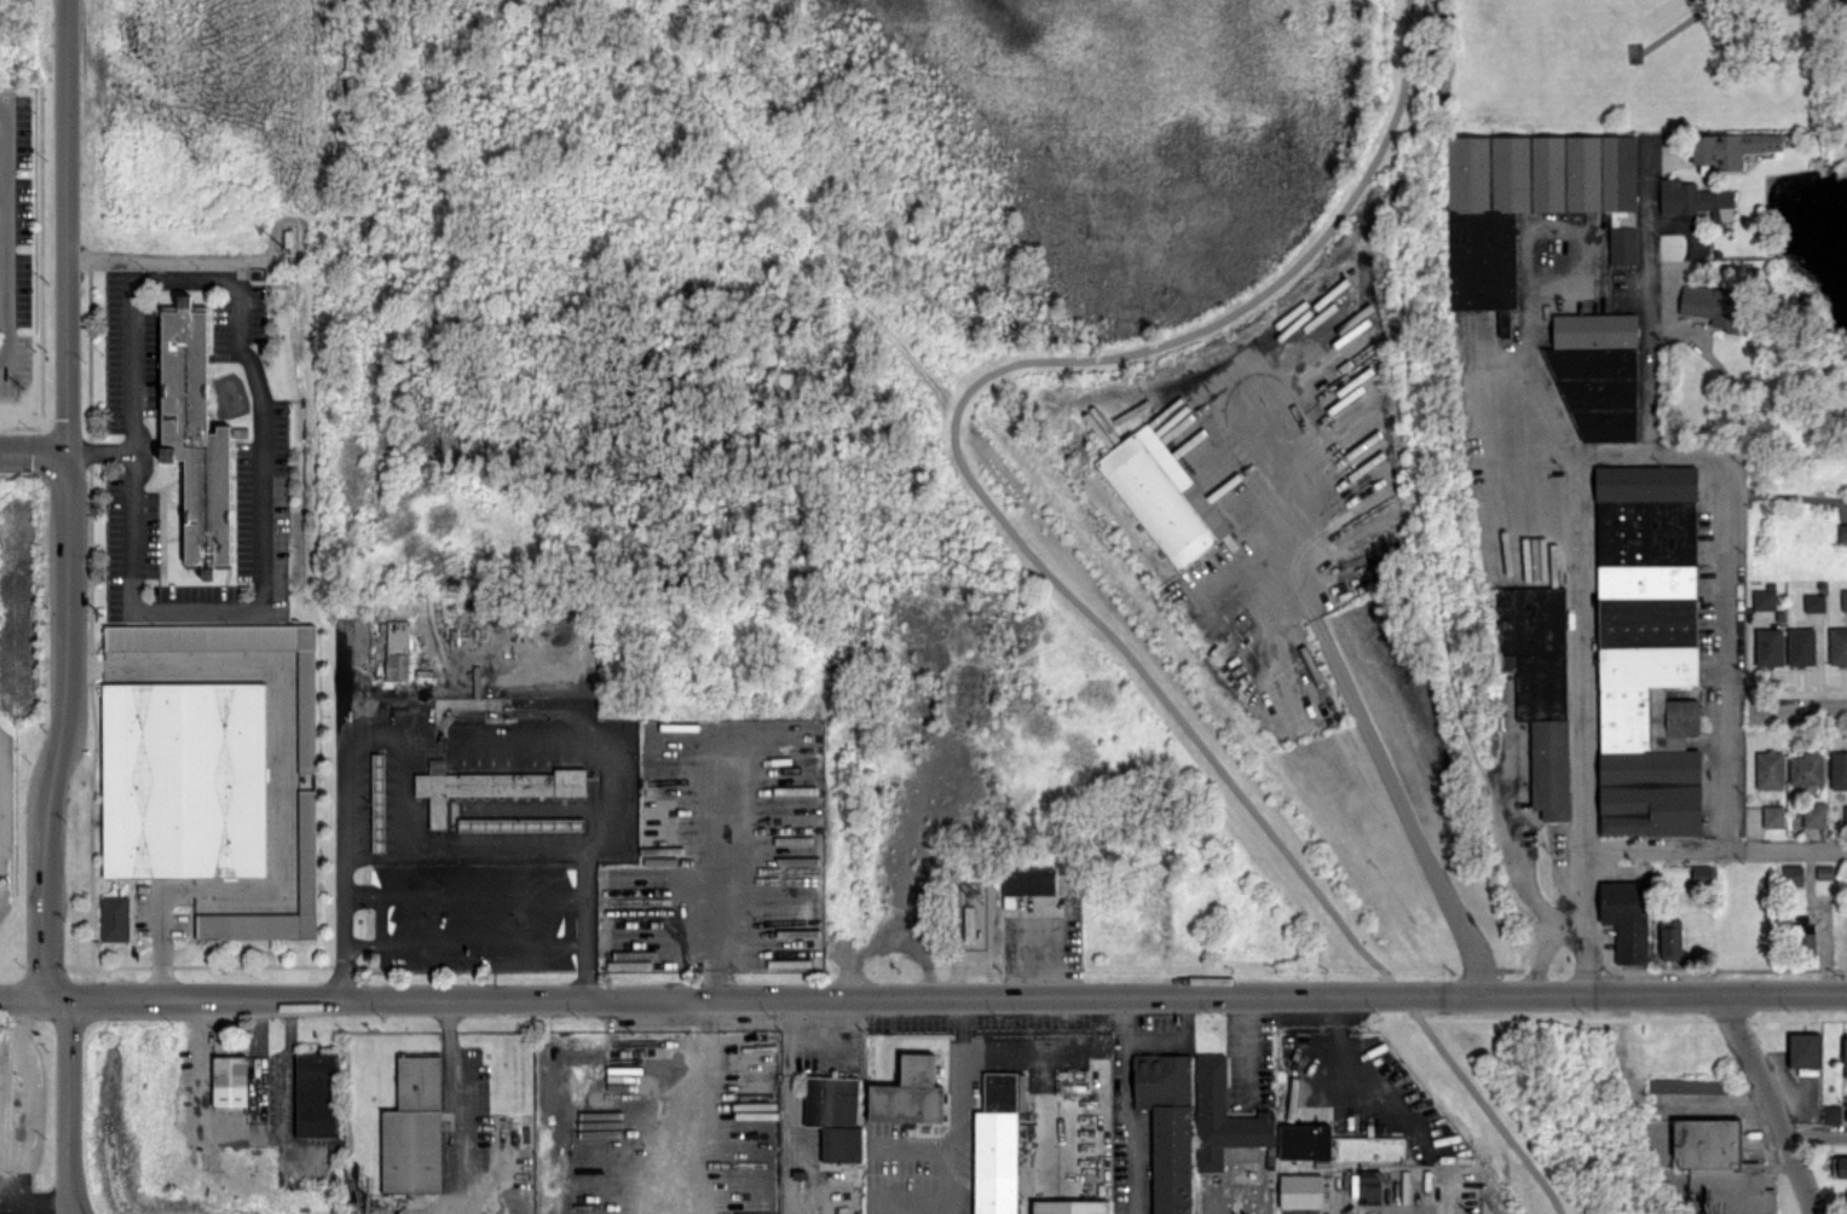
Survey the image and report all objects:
park: (1640, 64)
building: (1730, 148)
building: (1695, 198)
building: (1523, 202)
road: (65, 225)
road: (1, 232)
building: (1623, 244)
road: (1303, 259)
road: (1526, 274)
road: (1647, 296)
building: (1713, 305)
building: (1597, 372)
road: (131, 399)
building: (195, 438)
road: (33, 451)
road: (1649, 452)
road: (1785, 492)
building: (1161, 496)
road: (260, 530)
building: (1841, 533)
building: (1764, 599)
building: (1843, 599)
building: (1813, 602)
building: (1768, 646)
building: (1837, 646)
building: (1800, 647)
building: (397, 649)
building: (1647, 649)
road: (1724, 652)
road: (1129, 658)
building: (1539, 686)
road: (1800, 710)
building: (306, 711)
road: (1575, 725)
road: (65, 730)
road: (373, 736)
building: (1768, 769)
building: (1805, 769)
building: (1837, 769)
road: (1386, 776)
building: (183, 779)
building: (492, 785)
road: (281, 790)
road: (400, 793)
building: (377, 800)
building: (1813, 814)
building: (1845, 815)
road: (345, 816)
building: (1772, 816)
building: (520, 822)
building: (306, 850)
road: (1651, 851)
road: (1787, 851)
building: (1824, 872)
building: (1701, 873)
building: (1791, 874)
building: (1027, 881)
road: (464, 894)
building: (115, 918)
building: (1627, 918)
road: (712, 935)
building: (1806, 936)
building: (1841, 937)
building: (1670, 938)
road: (464, 942)
road: (1398, 989)
road: (957, 1000)
road: (33, 1002)
road: (1410, 1004)
road: (1171, 1035)
building: (1802, 1050)
building: (1845, 1057)
road: (1043, 1076)
building: (230, 1080)
building: (1689, 1085)
building: (908, 1092)
building: (316, 1093)
road: (19, 1099)
road: (1770, 1105)
road: (458, 1106)
road: (959, 1106)
road: (67, 1108)
road: (1125, 1108)
road: (1488, 1110)
building: (1831, 1114)
building: (833, 1115)
building: (1223, 1116)
building: (1167, 1126)
building: (412, 1127)
road: (1814, 1135)
road: (241, 1139)
building: (1304, 1141)
building: (995, 1145)
building: (1369, 1147)
building: (1720, 1166)
building: (1839, 1166)
building: (1369, 1186)
building: (1303, 1191)
road: (34, 1197)
building: (1069, 1207)

